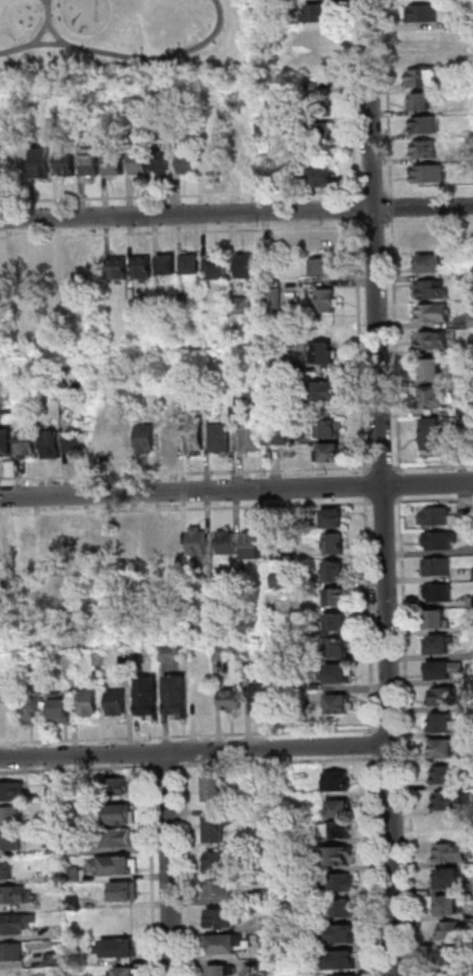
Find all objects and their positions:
building: (317, 12)
building: (424, 13)
building: (466, 20)
park: (121, 37)
building: (316, 61)
building: (426, 78)
building: (467, 82)
building: (312, 87)
road: (353, 98)
road: (388, 98)
building: (422, 102)
building: (133, 106)
building: (321, 107)
building: (107, 118)
building: (168, 123)
building: (427, 125)
building: (59, 126)
building: (278, 126)
building: (83, 131)
building: (321, 131)
building: (427, 149)
building: (468, 153)
building: (43, 159)
building: (17, 160)
building: (160, 160)
building: (92, 161)
building: (67, 162)
building: (188, 162)
building: (140, 163)
building: (224, 163)
building: (116, 164)
building: (2, 166)
building: (431, 174)
building: (322, 176)
road: (373, 190)
road: (388, 190)
road: (182, 196)
road: (356, 204)
road: (392, 207)
road: (236, 213)
road: (381, 226)
road: (390, 226)
building: (428, 238)
building: (321, 240)
building: (116, 261)
building: (141, 261)
building: (166, 261)
building: (189, 262)
building: (431, 262)
building: (243, 263)
building: (215, 264)
building: (19, 265)
building: (44, 266)
building: (322, 266)
building: (431, 288)
building: (183, 298)
building: (271, 298)
building: (325, 298)
building: (239, 304)
building: (433, 313)
building: (471, 320)
building: (435, 339)
road: (396, 346)
building: (320, 352)
building: (436, 368)
building: (320, 388)
building: (461, 390)
building: (435, 395)
building: (124, 403)
building: (276, 406)
building: (469, 406)
building: (327, 427)
building: (434, 432)
building: (279, 433)
building: (168, 434)
building: (250, 434)
building: (193, 436)
building: (218, 436)
building: (74, 438)
building: (120, 438)
building: (143, 438)
building: (4, 440)
building: (26, 442)
building: (51, 443)
building: (329, 451)
road: (434, 466)
road: (383, 468)
road: (366, 469)
road: (401, 484)
road: (366, 486)
road: (383, 487)
road: (236, 489)
road: (437, 500)
road: (399, 502)
road: (384, 503)
road: (370, 504)
building: (438, 516)
building: (335, 517)
building: (467, 518)
building: (172, 540)
building: (441, 540)
building: (149, 541)
building: (124, 543)
building: (227, 543)
building: (335, 543)
building: (198, 544)
building: (253, 545)
building: (52, 546)
building: (78, 546)
building: (27, 547)
building: (282, 553)
building: (438, 566)
building: (336, 570)
building: (279, 581)
building: (440, 592)
building: (337, 596)
road: (369, 615)
building: (438, 619)
building: (336, 621)
building: (440, 644)
building: (339, 648)
building: (223, 653)
building: (143, 654)
building: (175, 654)
building: (99, 658)
building: (126, 666)
building: (252, 667)
building: (445, 669)
building: (337, 674)
building: (178, 694)
building: (149, 695)
building: (203, 696)
building: (449, 696)
building: (260, 699)
building: (232, 700)
building: (89, 702)
building: (118, 702)
building: (339, 704)
building: (61, 707)
building: (8, 710)
building: (36, 710)
building: (443, 723)
road: (193, 736)
road: (409, 736)
road: (373, 744)
building: (444, 748)
road: (194, 750)
road: (283, 761)
road: (168, 766)
road: (78, 770)
building: (451, 775)
building: (263, 778)
building: (337, 781)
building: (117, 786)
building: (214, 787)
building: (70, 789)
building: (12, 791)
building: (453, 801)
building: (340, 808)
building: (70, 809)
building: (121, 814)
building: (10, 815)
building: (262, 815)
building: (448, 825)
building: (216, 829)
building: (337, 830)
building: (119, 838)
building: (11, 842)
building: (452, 853)
building: (334, 856)
building: (220, 862)
road: (189, 863)
road: (152, 864)
road: (167, 864)
building: (118, 865)
building: (289, 865)
road: (377, 865)
building: (264, 866)
building: (6, 870)
building: (74, 874)
building: (54, 876)
building: (451, 879)
building: (336, 883)
building: (219, 889)
building: (123, 891)
building: (14, 894)
building: (289, 894)
building: (263, 897)
building: (74, 903)
building: (450, 905)
building: (341, 908)
building: (291, 915)
building: (223, 918)
building: (13, 925)
building: (455, 930)
building: (339, 934)
building: (221, 944)
building: (118, 948)
building: (269, 950)
building: (12, 952)
building: (452, 957)
building: (54, 959)
building: (340, 960)
building: (224, 971)
building: (128, 972)
building: (25, 973)
building: (450, 974)
building: (345, 975)

